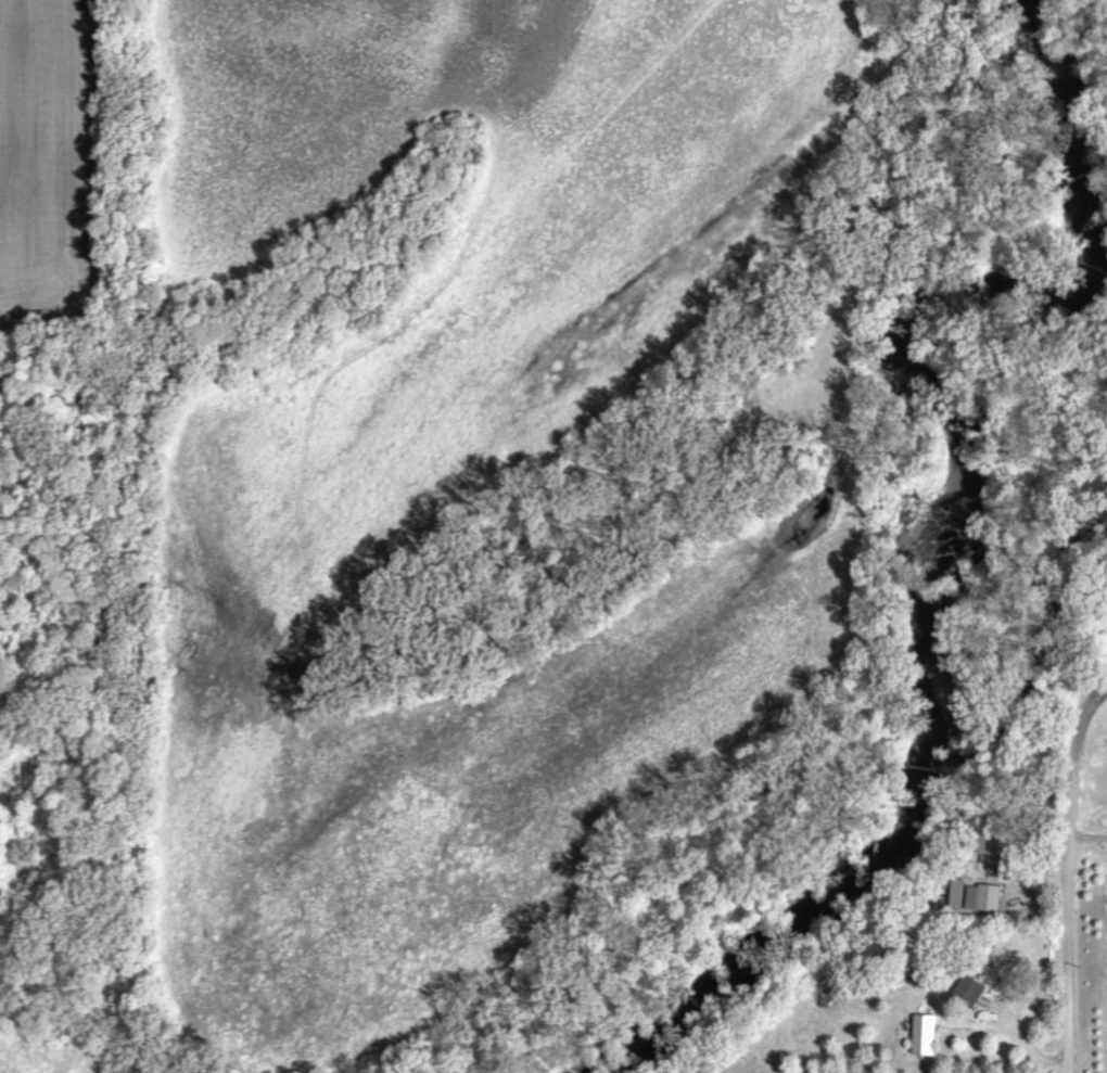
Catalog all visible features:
park: (1086, 742)
road: (1065, 876)
building: (960, 896)
building: (987, 899)
building: (972, 992)
building: (928, 1036)

